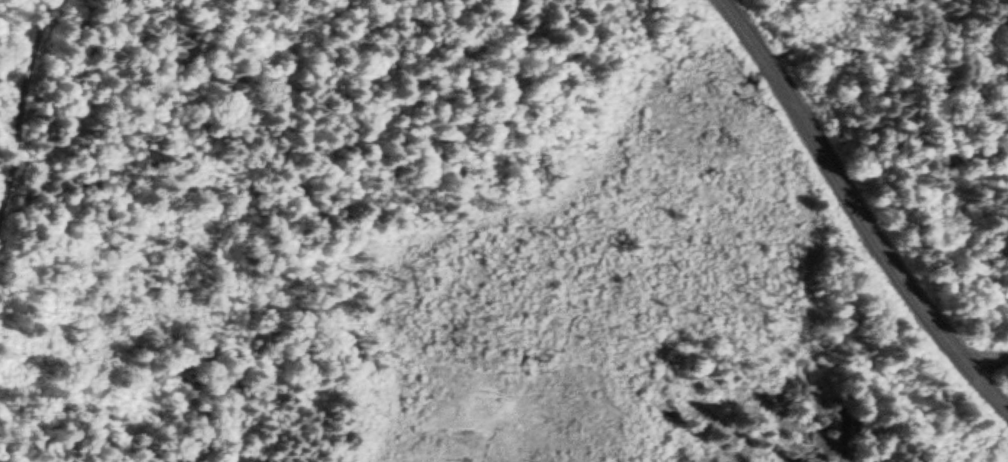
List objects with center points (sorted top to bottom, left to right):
road: (22, 89)
road: (858, 208)
road: (986, 349)

